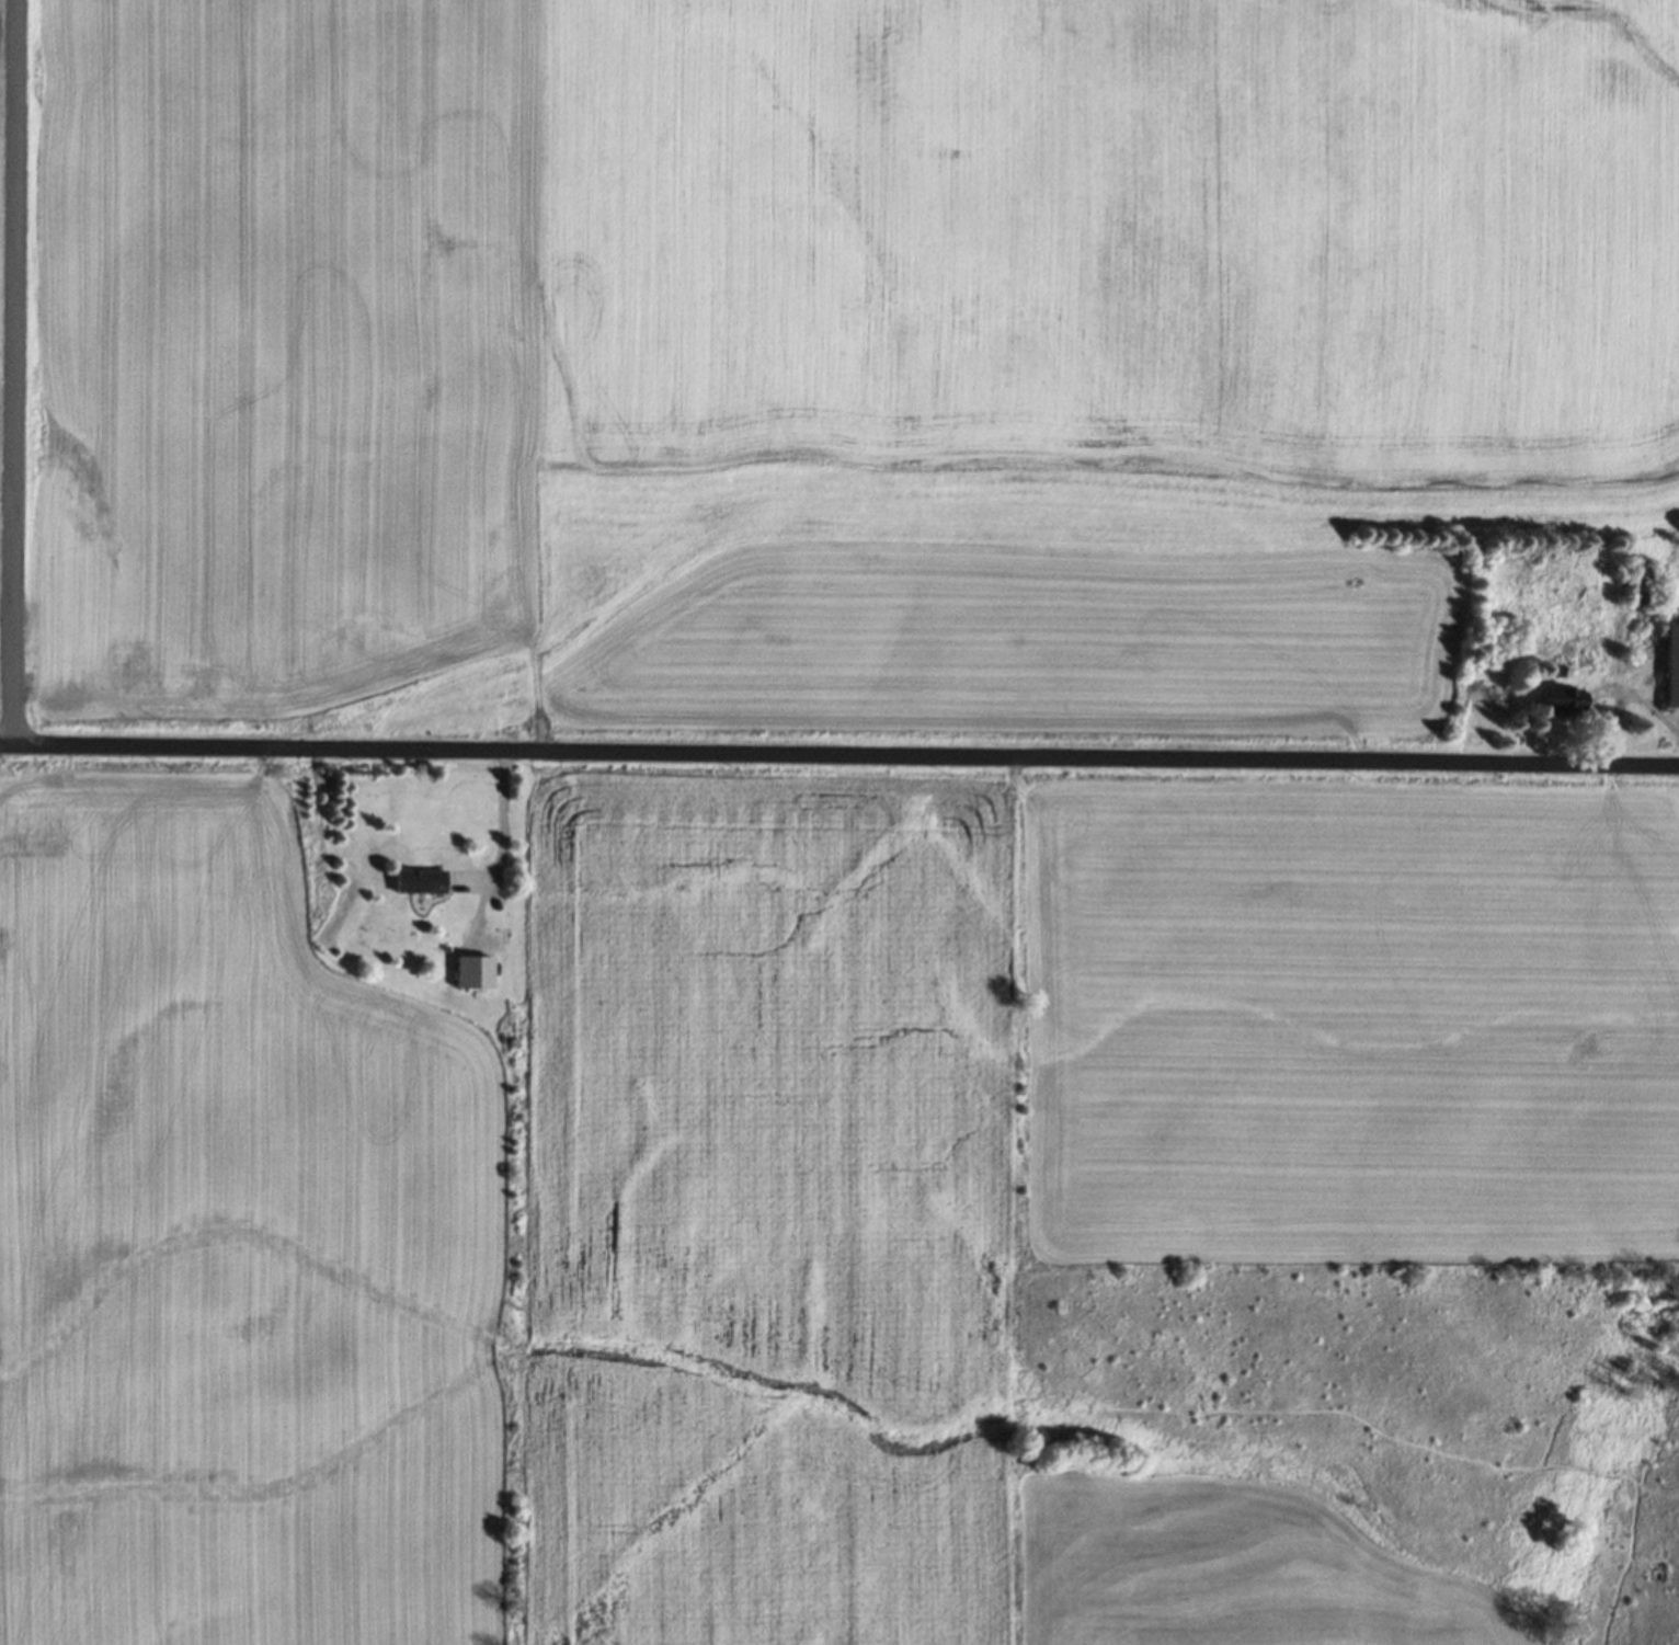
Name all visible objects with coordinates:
road: (12, 370)
building: (1640, 584)
building: (1671, 665)
building: (1558, 700)
road: (838, 756)
building: (418, 882)
building: (471, 973)

